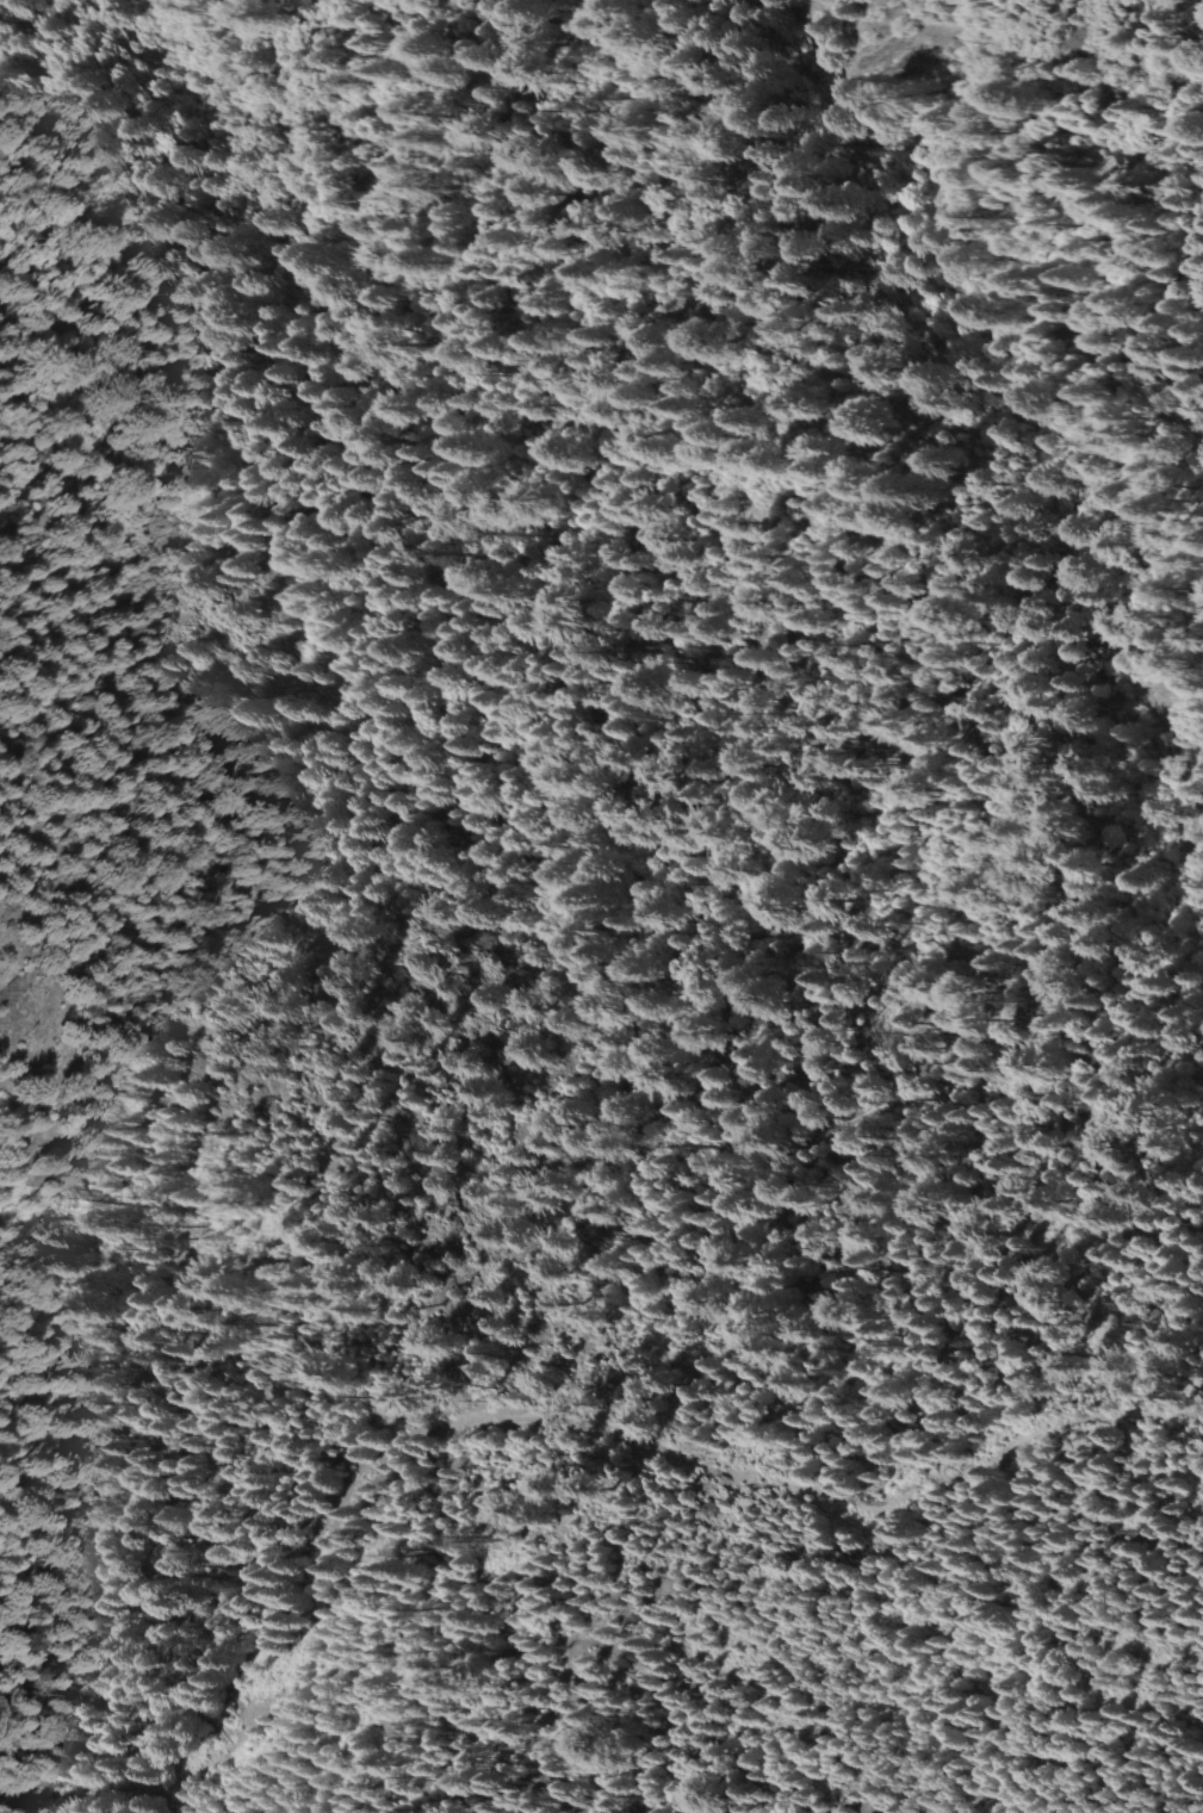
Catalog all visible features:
road: (517, 1420)

